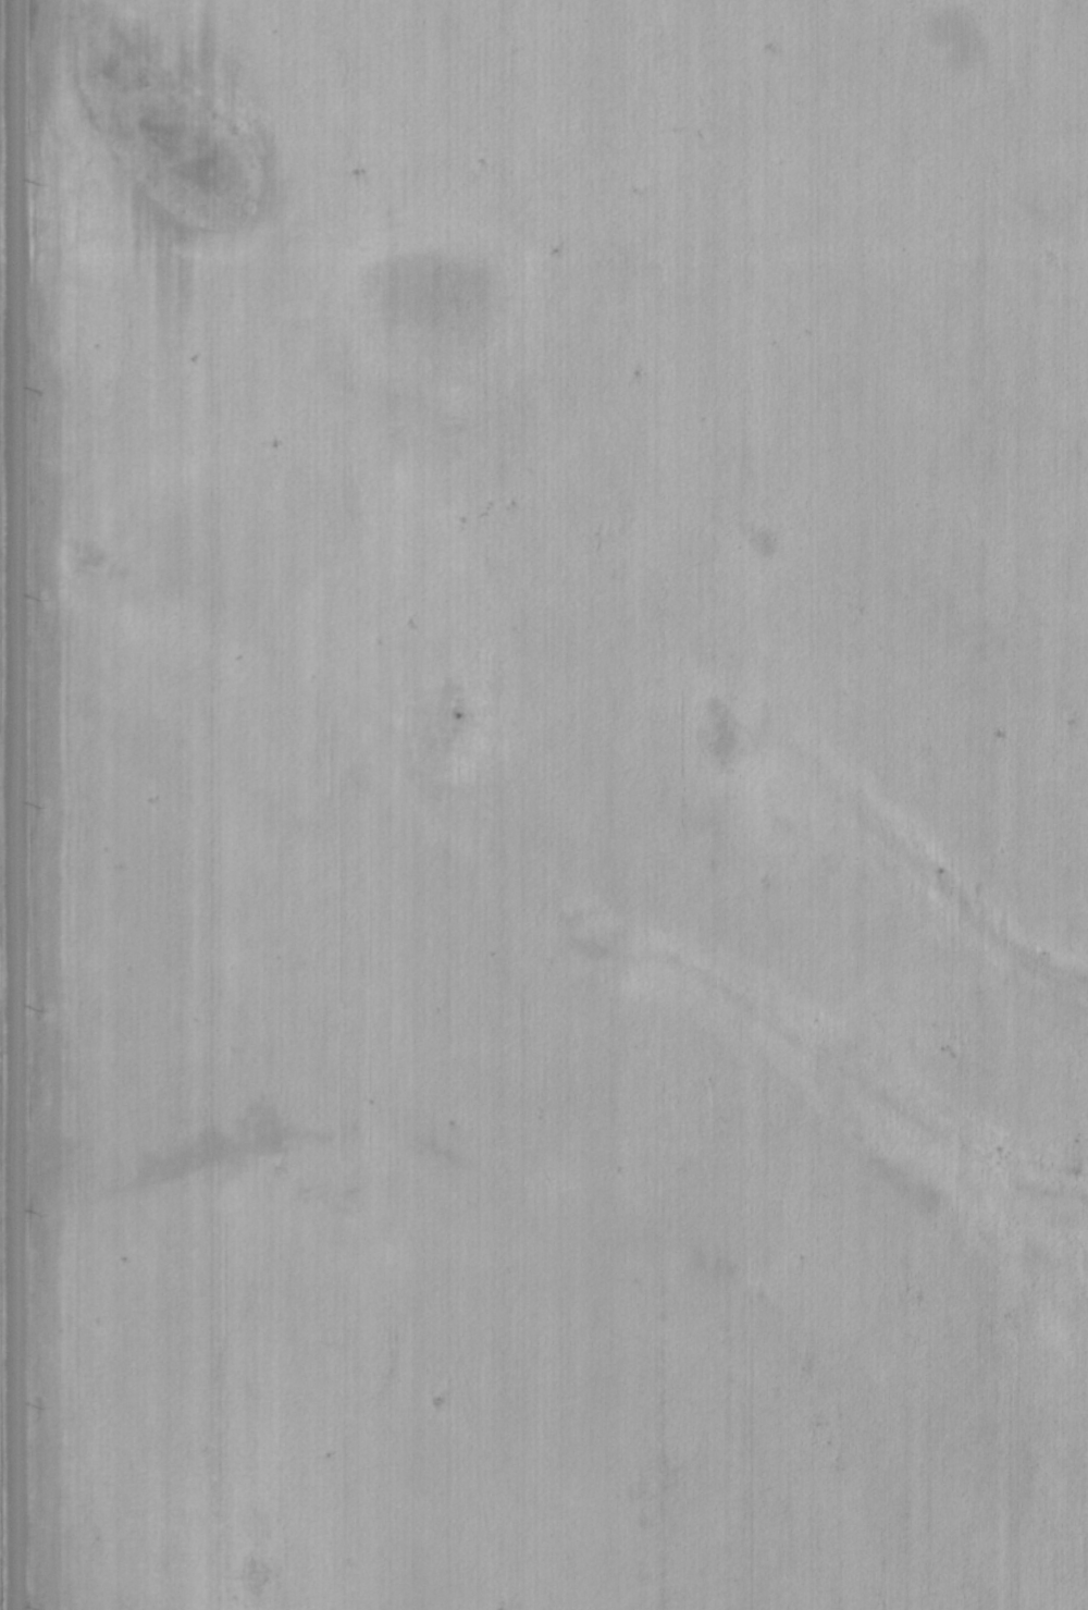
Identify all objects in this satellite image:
road: (15, 804)
crop: (564, 804)

